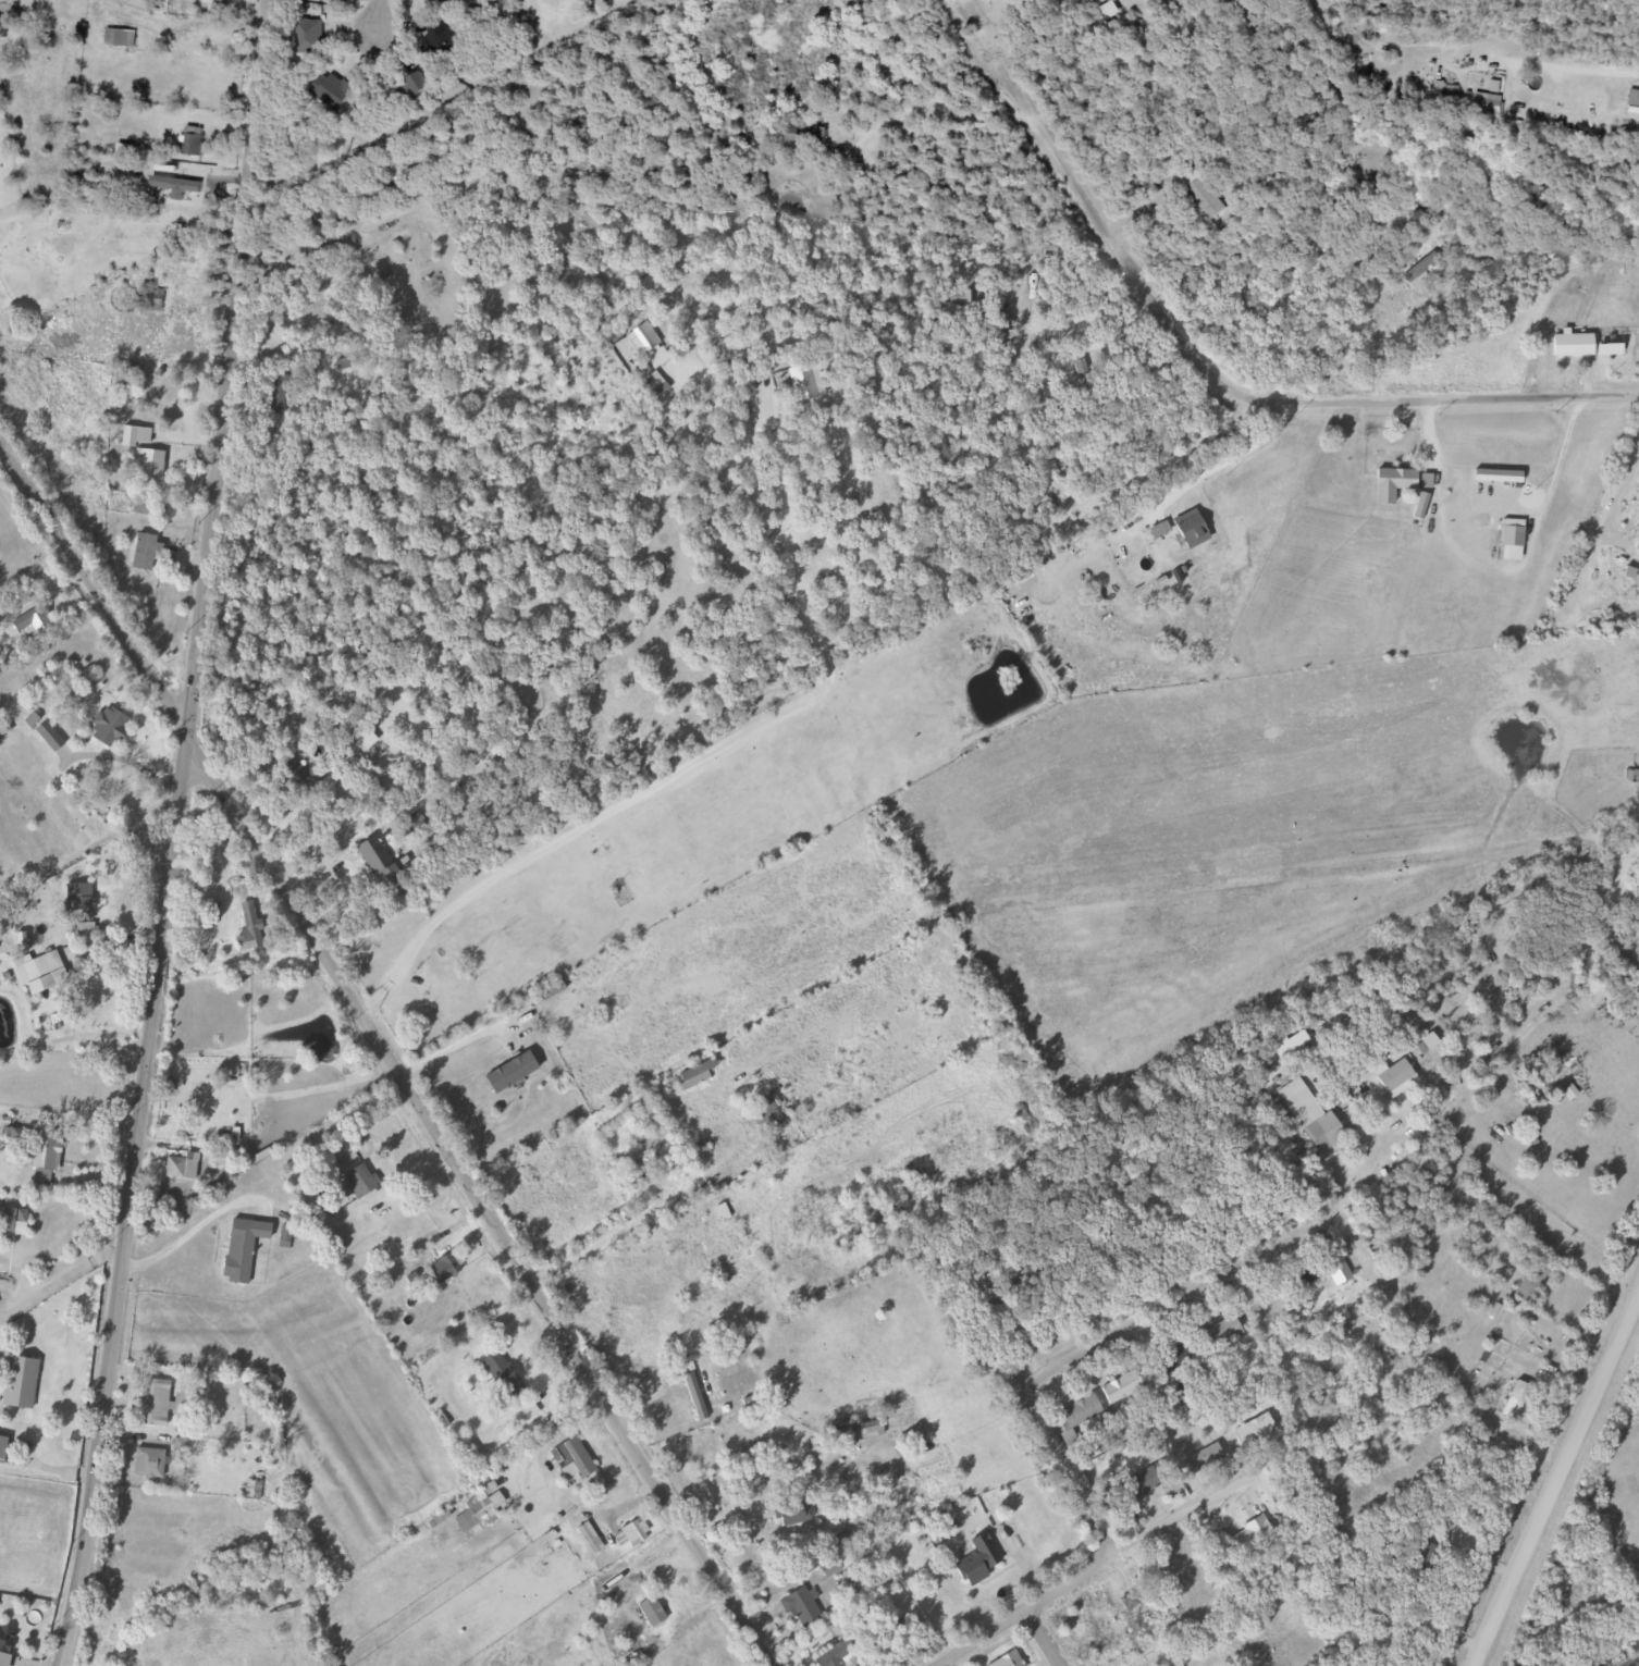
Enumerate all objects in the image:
road: (375, 27)
building: (1370, 33)
building: (310, 36)
building: (116, 37)
building: (441, 38)
building: (415, 85)
building: (332, 89)
building: (1443, 92)
building: (1634, 98)
building: (1486, 109)
building: (801, 134)
building: (193, 141)
building: (389, 151)
building: (1197, 189)
building: (175, 196)
building: (378, 267)
building: (1424, 271)
building: (156, 299)
building: (975, 300)
building: (642, 338)
building: (1572, 345)
building: (346, 362)
building: (122, 380)
building: (801, 382)
building: (1090, 382)
road: (1228, 383)
building: (275, 397)
building: (128, 437)
building: (149, 466)
building: (1496, 477)
building: (1391, 483)
building: (751, 513)
building: (1188, 529)
building: (1512, 540)
building: (141, 552)
building: (925, 559)
building: (38, 621)
building: (616, 720)
building: (4, 727)
building: (110, 728)
building: (51, 738)
building: (313, 776)
building: (1636, 777)
building: (417, 824)
road: (172, 835)
building: (374, 857)
road: (489, 888)
building: (85, 904)
building: (247, 929)
building: (41, 966)
building: (49, 984)
building: (549, 994)
road: (387, 1052)
building: (698, 1075)
building: (1394, 1076)
building: (507, 1081)
building: (768, 1115)
building: (1322, 1133)
building: (699, 1152)
building: (644, 1153)
building: (47, 1158)
building: (183, 1169)
building: (360, 1181)
building: (710, 1212)
building: (13, 1222)
building: (244, 1250)
building: (699, 1264)
building: (444, 1269)
building: (1336, 1270)
building: (1532, 1280)
building: (1218, 1334)
road: (1084, 1353)
building: (4, 1355)
building: (1172, 1359)
building: (502, 1377)
building: (24, 1384)
building: (1121, 1387)
building: (694, 1395)
building: (1515, 1400)
building: (158, 1404)
building: (1080, 1410)
building: (1190, 1446)
building: (4, 1448)
building: (470, 1456)
building: (574, 1456)
building: (152, 1465)
building: (1144, 1481)
road: (1555, 1481)
building: (790, 1514)
building: (476, 1515)
building: (634, 1532)
building: (1252, 1537)
building: (976, 1559)
road: (1089, 1572)
building: (801, 1606)
building: (651, 1612)
building: (1139, 1628)
road: (1044, 1638)
building: (7, 1645)
building: (839, 1654)
building: (1007, 1659)

